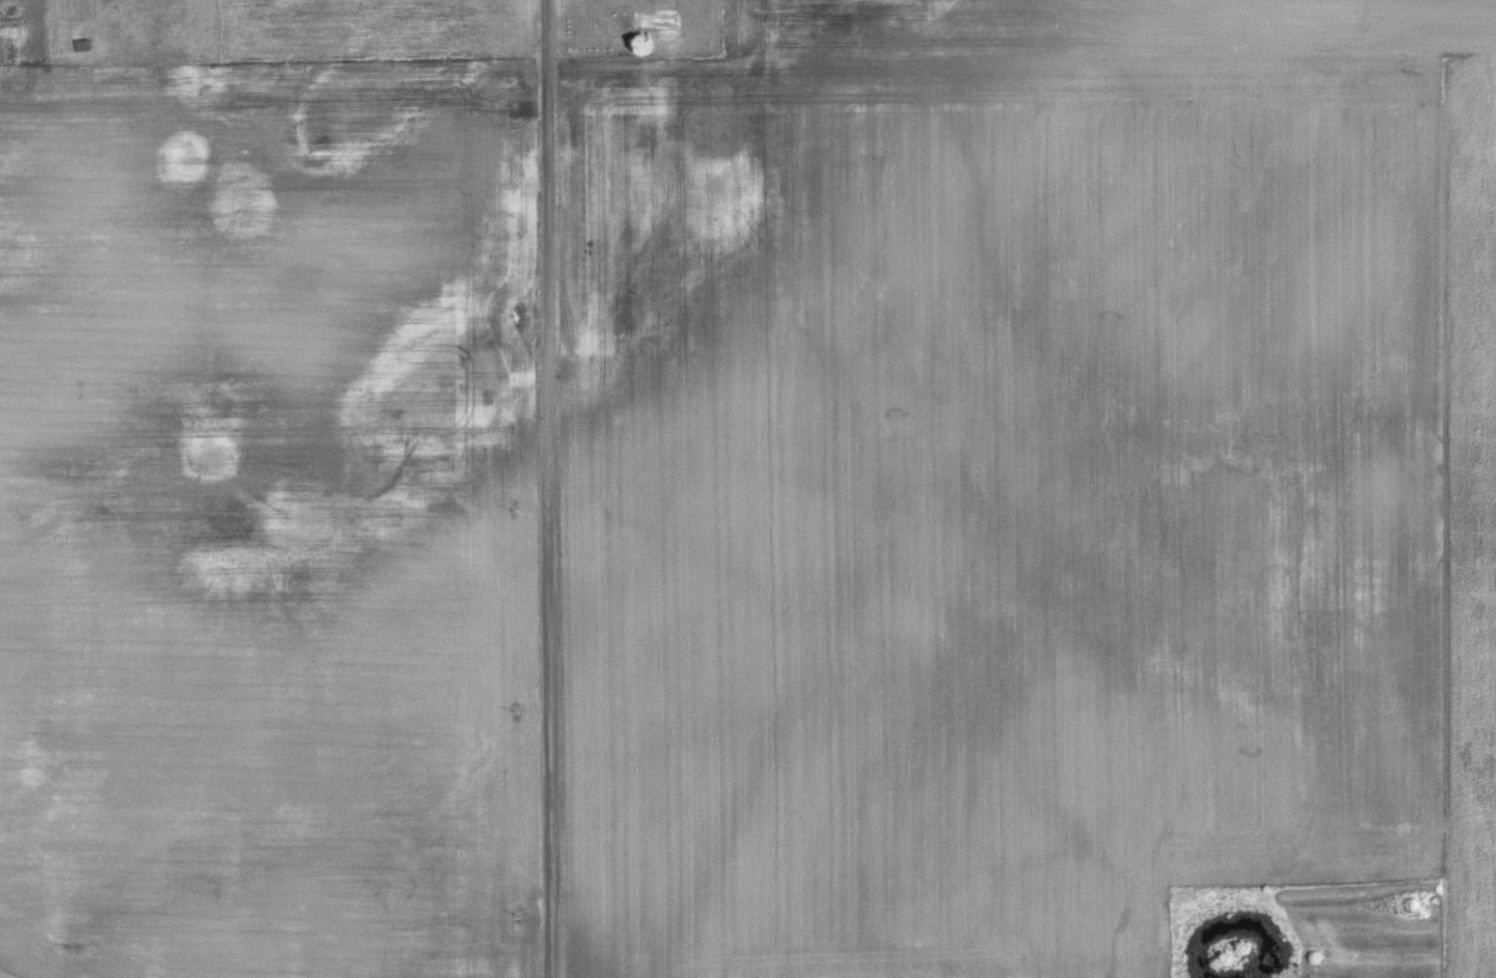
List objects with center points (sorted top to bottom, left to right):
crop: (1031, 481)
road: (552, 488)
crop: (261, 519)

